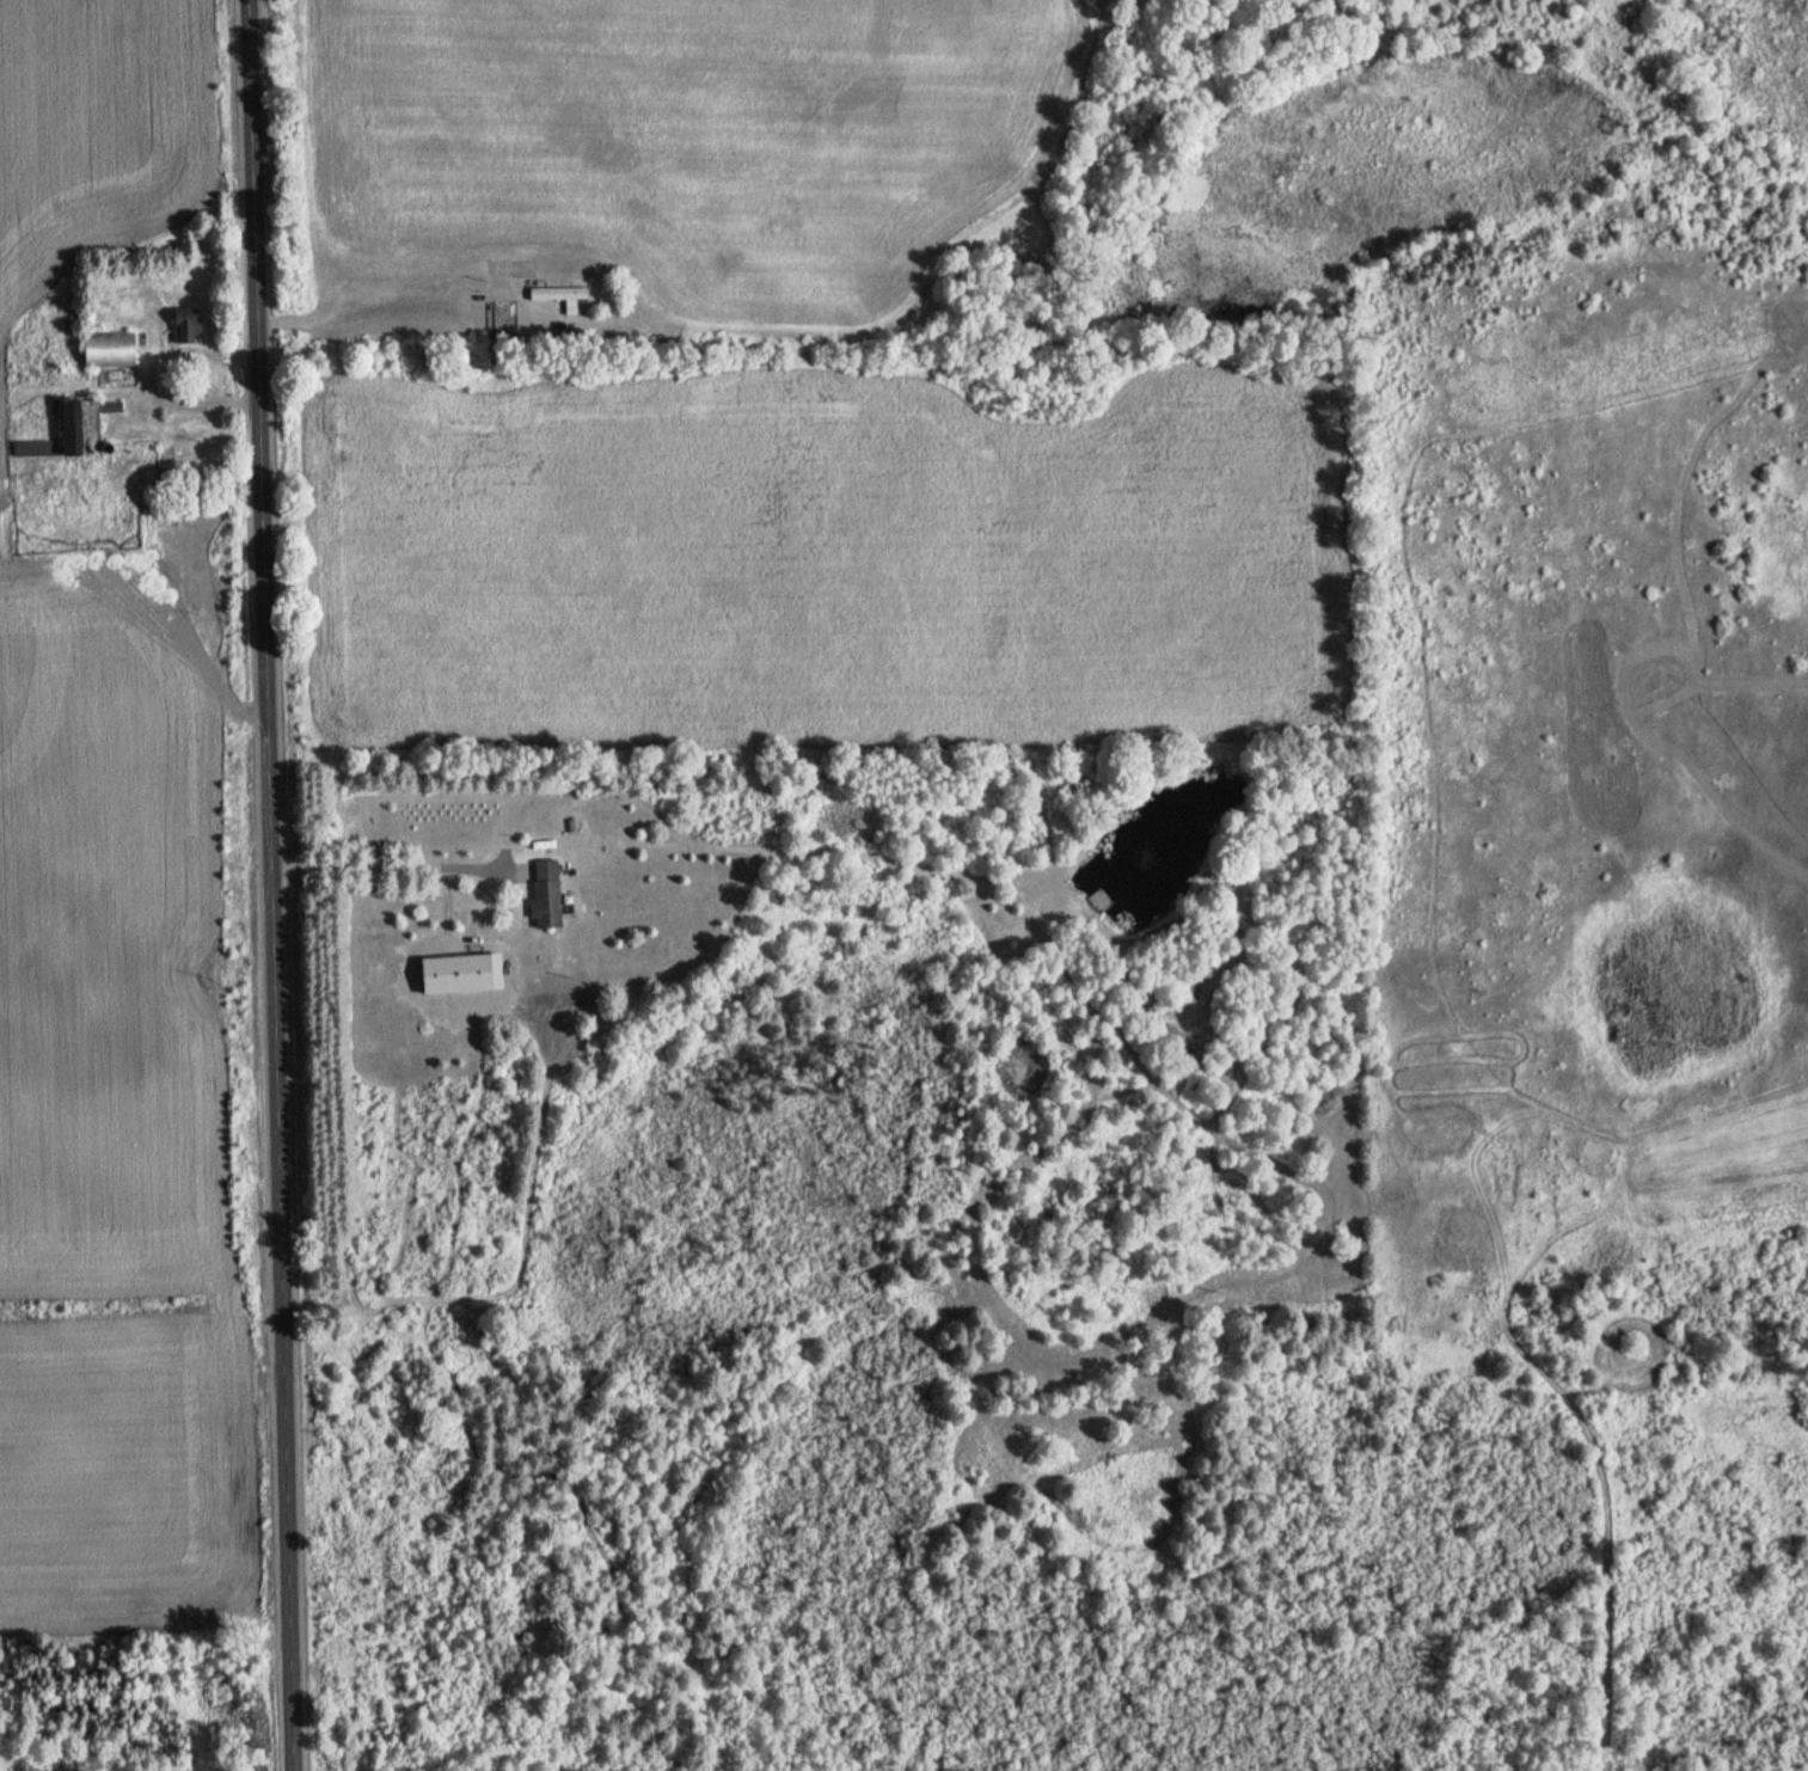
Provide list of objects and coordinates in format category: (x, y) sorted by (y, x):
building: (558, 296)
building: (185, 325)
building: (109, 349)
building: (67, 435)
road: (390, 863)
road: (265, 885)
building: (546, 893)
building: (1099, 900)
building: (1460, 1140)
building: (1504, 1187)

